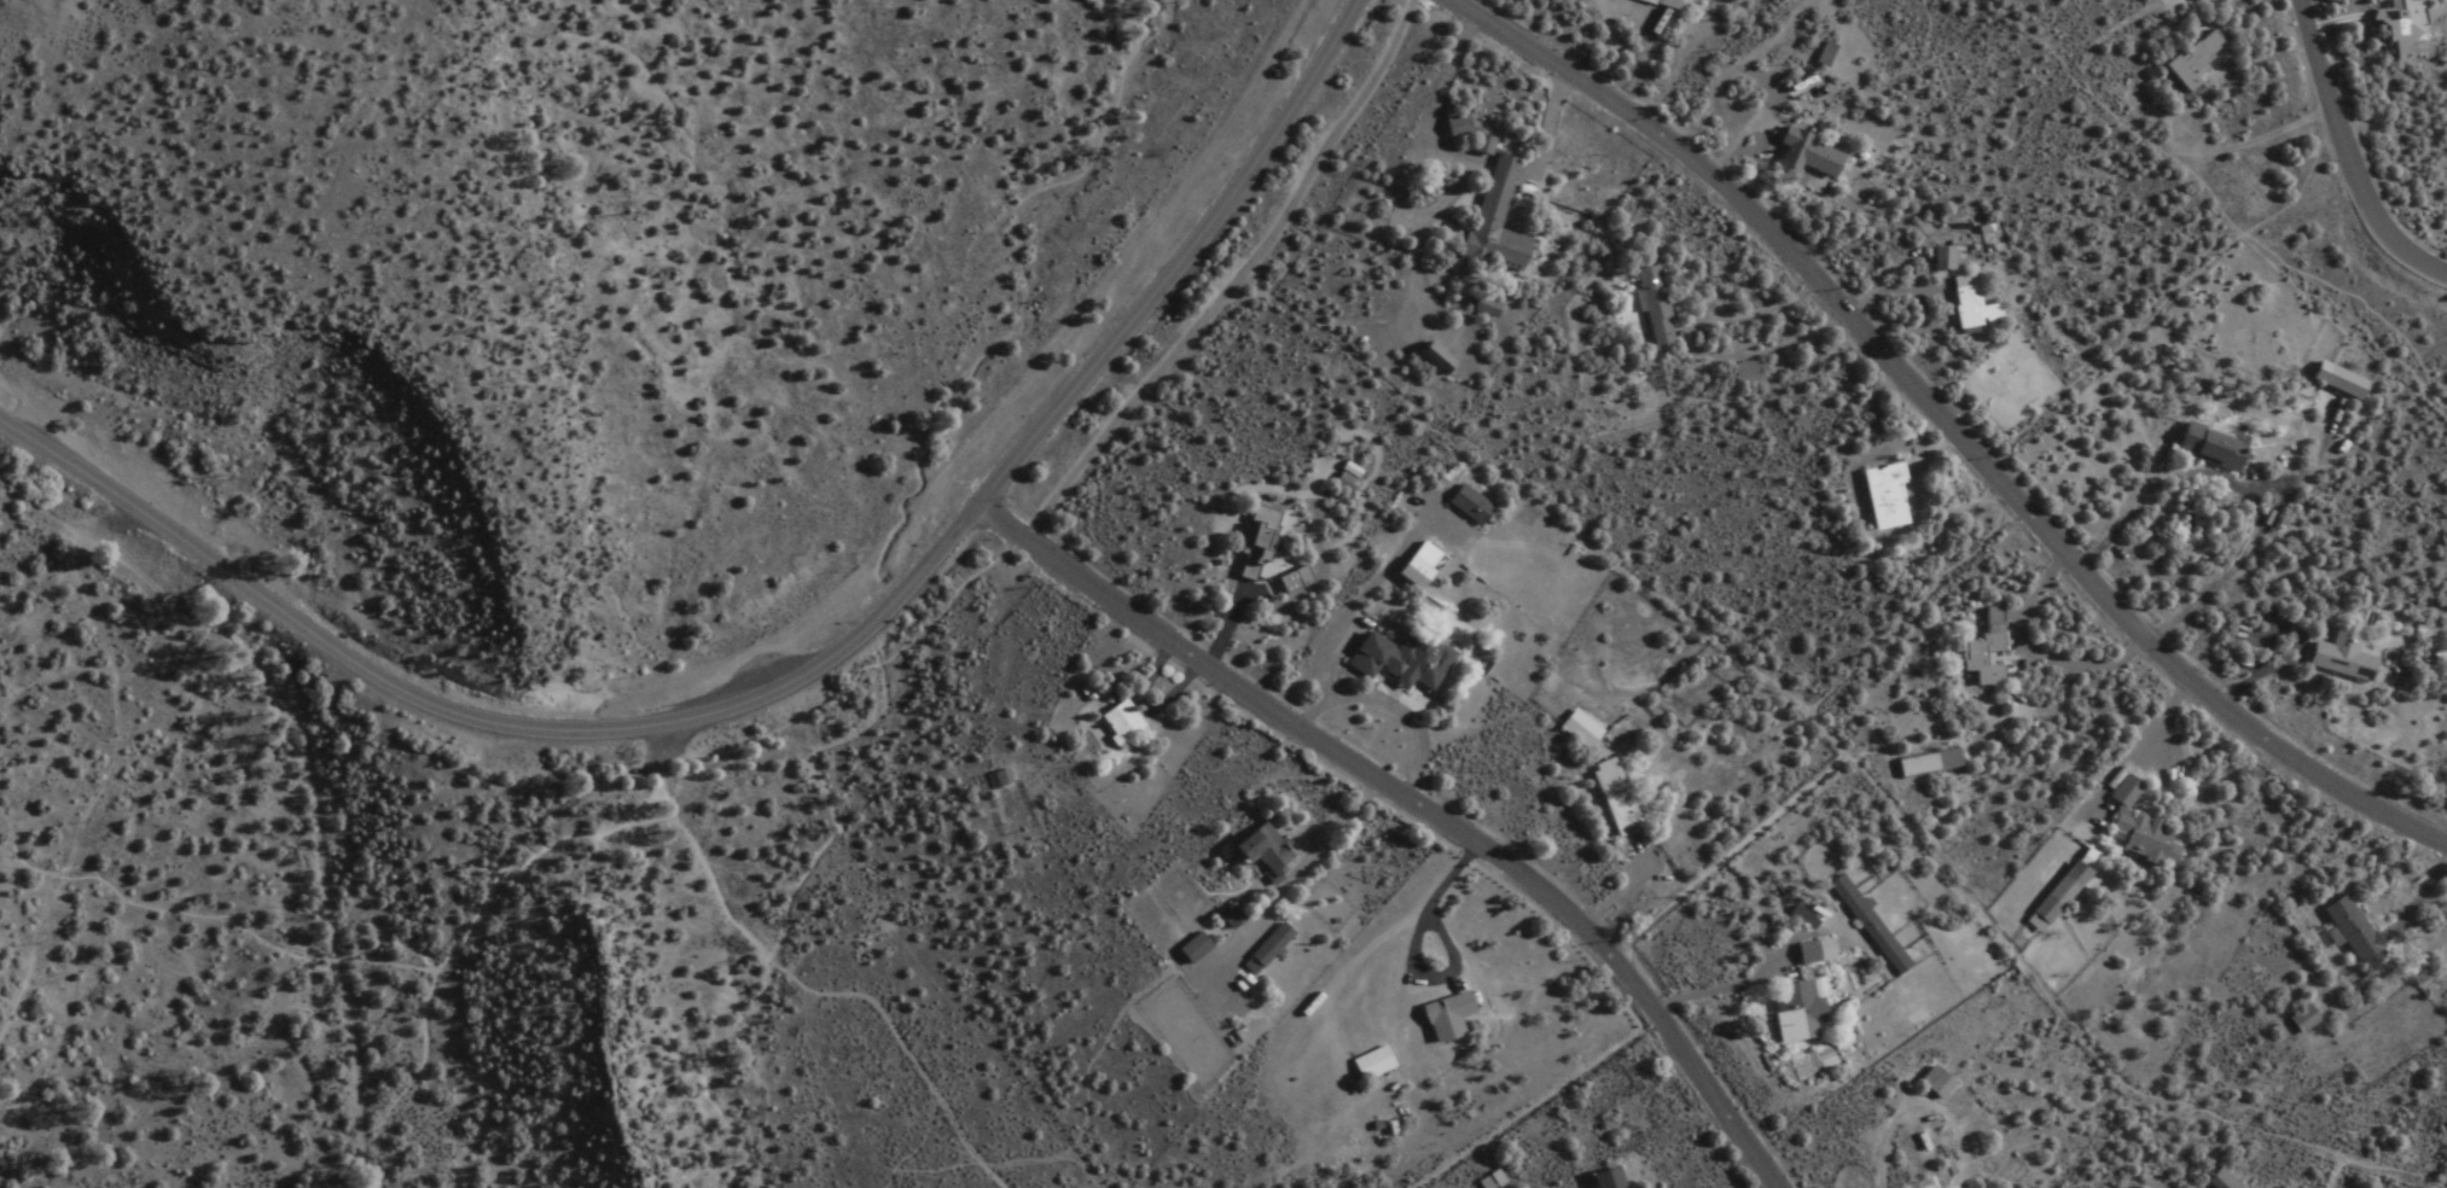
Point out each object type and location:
building: (1673, 4)
road: (2356, 6)
road: (2190, 8)
building: (2394, 22)
building: (1830, 54)
building: (2190, 60)
building: (1464, 126)
road: (2353, 148)
building: (1815, 155)
road: (2174, 167)
building: (1501, 220)
building: (1940, 257)
road: (1232, 276)
building: (1966, 304)
building: (1660, 305)
building: (1490, 308)
road: (2347, 309)
road: (2109, 351)
building: (1442, 361)
building: (1749, 372)
building: (2333, 380)
road: (1082, 389)
road: (1947, 423)
building: (2204, 445)
building: (1353, 478)
building: (1881, 495)
building: (1476, 505)
road: (1544, 505)
building: (1265, 540)
building: (1423, 573)
building: (1301, 581)
road: (1902, 594)
building: (1978, 651)
road: (341, 653)
road: (2044, 656)
building: (2336, 656)
building: (1411, 659)
road: (858, 677)
road: (1397, 709)
building: (1112, 720)
building: (1576, 729)
road: (662, 752)
building: (1923, 763)
building: (1006, 779)
building: (1610, 798)
road: (2097, 799)
road: (103, 803)
road: (1417, 806)
building: (2134, 828)
building: (1274, 849)
building: (1255, 851)
road: (1447, 880)
building: (2051, 897)
road: (196, 914)
building: (1239, 914)
building: (1865, 925)
road: (1992, 927)
building: (2346, 930)
road: (457, 937)
building: (1274, 947)
building: (1810, 951)
road: (1423, 980)
road: (830, 984)
road: (1726, 989)
building: (1796, 1012)
building: (1455, 1015)
building: (1435, 1017)
building: (2298, 1020)
road: (760, 1053)
building: (1381, 1061)
building: (1931, 1083)
road: (1535, 1102)
road: (382, 1122)
road: (922, 1140)
road: (2329, 1167)
building: (1616, 1178)
building: (1596, 1180)
building: (2214, 1181)

